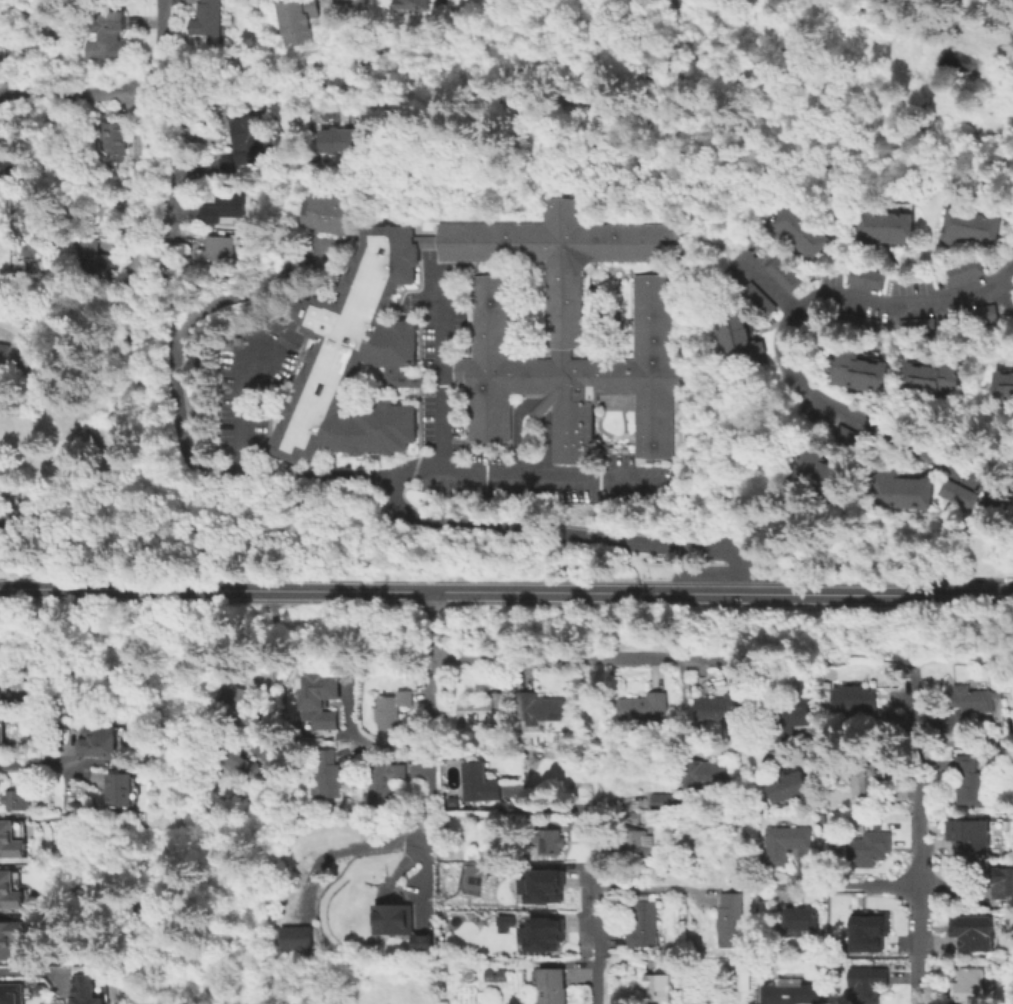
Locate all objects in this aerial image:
building: (412, 2)
building: (227, 18)
building: (297, 20)
building: (208, 21)
road: (660, 33)
road: (360, 34)
building: (106, 37)
road: (161, 39)
road: (384, 40)
road: (408, 44)
road: (537, 64)
road: (417, 66)
road: (658, 75)
park: (629, 77)
road: (78, 95)
building: (342, 138)
building: (111, 140)
building: (252, 141)
building: (7, 167)
road: (168, 204)
building: (228, 206)
building: (41, 209)
building: (326, 212)
building: (780, 218)
building: (793, 227)
building: (889, 227)
building: (903, 227)
building: (947, 227)
building: (961, 227)
building: (975, 227)
building: (874, 228)
building: (860, 230)
building: (988, 230)
road: (132, 234)
building: (805, 235)
building: (813, 244)
building: (220, 246)
building: (95, 259)
building: (962, 270)
building: (781, 273)
building: (865, 276)
road: (766, 285)
road: (1005, 288)
building: (755, 298)
building: (978, 314)
building: (732, 317)
building: (857, 322)
building: (914, 325)
building: (566, 328)
building: (734, 330)
building: (740, 344)
building: (357, 354)
building: (3, 355)
building: (746, 358)
road: (783, 362)
building: (841, 365)
building: (854, 370)
road: (436, 371)
building: (868, 375)
building: (880, 375)
building: (908, 376)
building: (936, 378)
building: (921, 379)
building: (950, 379)
building: (1000, 383)
building: (1009, 383)
road: (241, 399)
road: (538, 409)
road: (178, 416)
road: (515, 431)
building: (850, 440)
road: (546, 445)
building: (806, 464)
building: (820, 472)
building: (1012, 475)
building: (1012, 479)
building: (833, 480)
building: (843, 483)
building: (881, 485)
building: (897, 489)
building: (924, 491)
building: (912, 492)
building: (955, 493)
building: (3, 523)
road: (448, 523)
road: (506, 590)
road: (579, 660)
road: (265, 667)
building: (2, 687)
building: (859, 697)
building: (319, 700)
building: (234, 703)
building: (975, 704)
building: (392, 707)
building: (538, 707)
building: (723, 707)
building: (644, 708)
building: (482, 710)
building: (899, 719)
building: (790, 724)
road: (429, 728)
building: (1, 733)
road: (595, 738)
building: (94, 740)
road: (30, 762)
building: (235, 764)
building: (327, 772)
building: (706, 774)
building: (970, 780)
building: (385, 782)
building: (480, 782)
building: (867, 782)
building: (789, 785)
building: (117, 789)
building: (18, 799)
building: (665, 800)
building: (509, 807)
building: (632, 816)
road: (919, 836)
building: (972, 837)
building: (551, 840)
building: (785, 841)
building: (11, 842)
building: (639, 842)
building: (869, 846)
road: (853, 883)
building: (542, 884)
building: (1004, 885)
road: (652, 886)
building: (10, 892)
road: (595, 910)
building: (392, 912)
building: (800, 918)
building: (730, 919)
building: (503, 922)
building: (643, 923)
building: (540, 933)
building: (976, 934)
building: (295, 937)
building: (864, 937)
building: (422, 938)
building: (11, 940)
road: (32, 972)
building: (495, 974)
building: (744, 976)
building: (869, 982)
building: (969, 983)
building: (551, 985)
building: (658, 986)
building: (84, 988)
building: (16, 990)
building: (793, 992)
building: (708, 1003)

